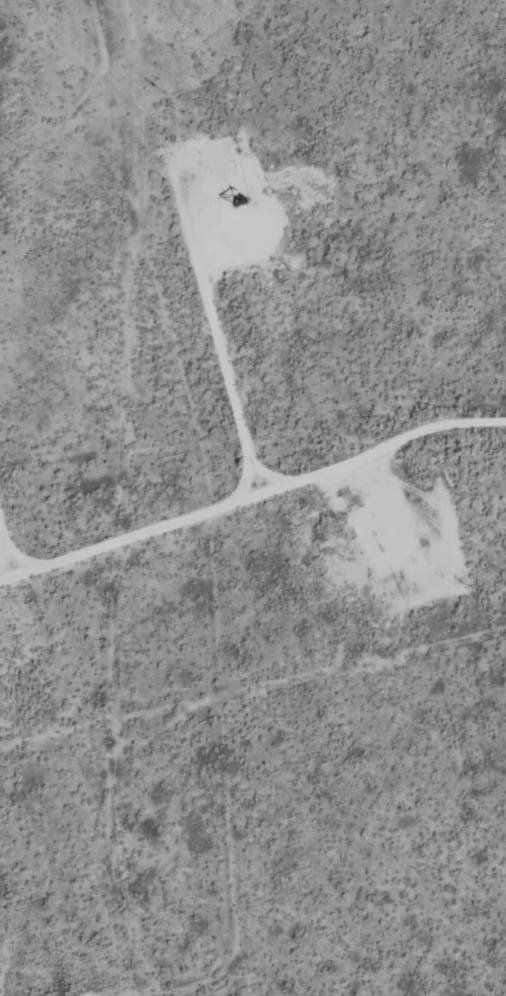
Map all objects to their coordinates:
road: (181, 521)

